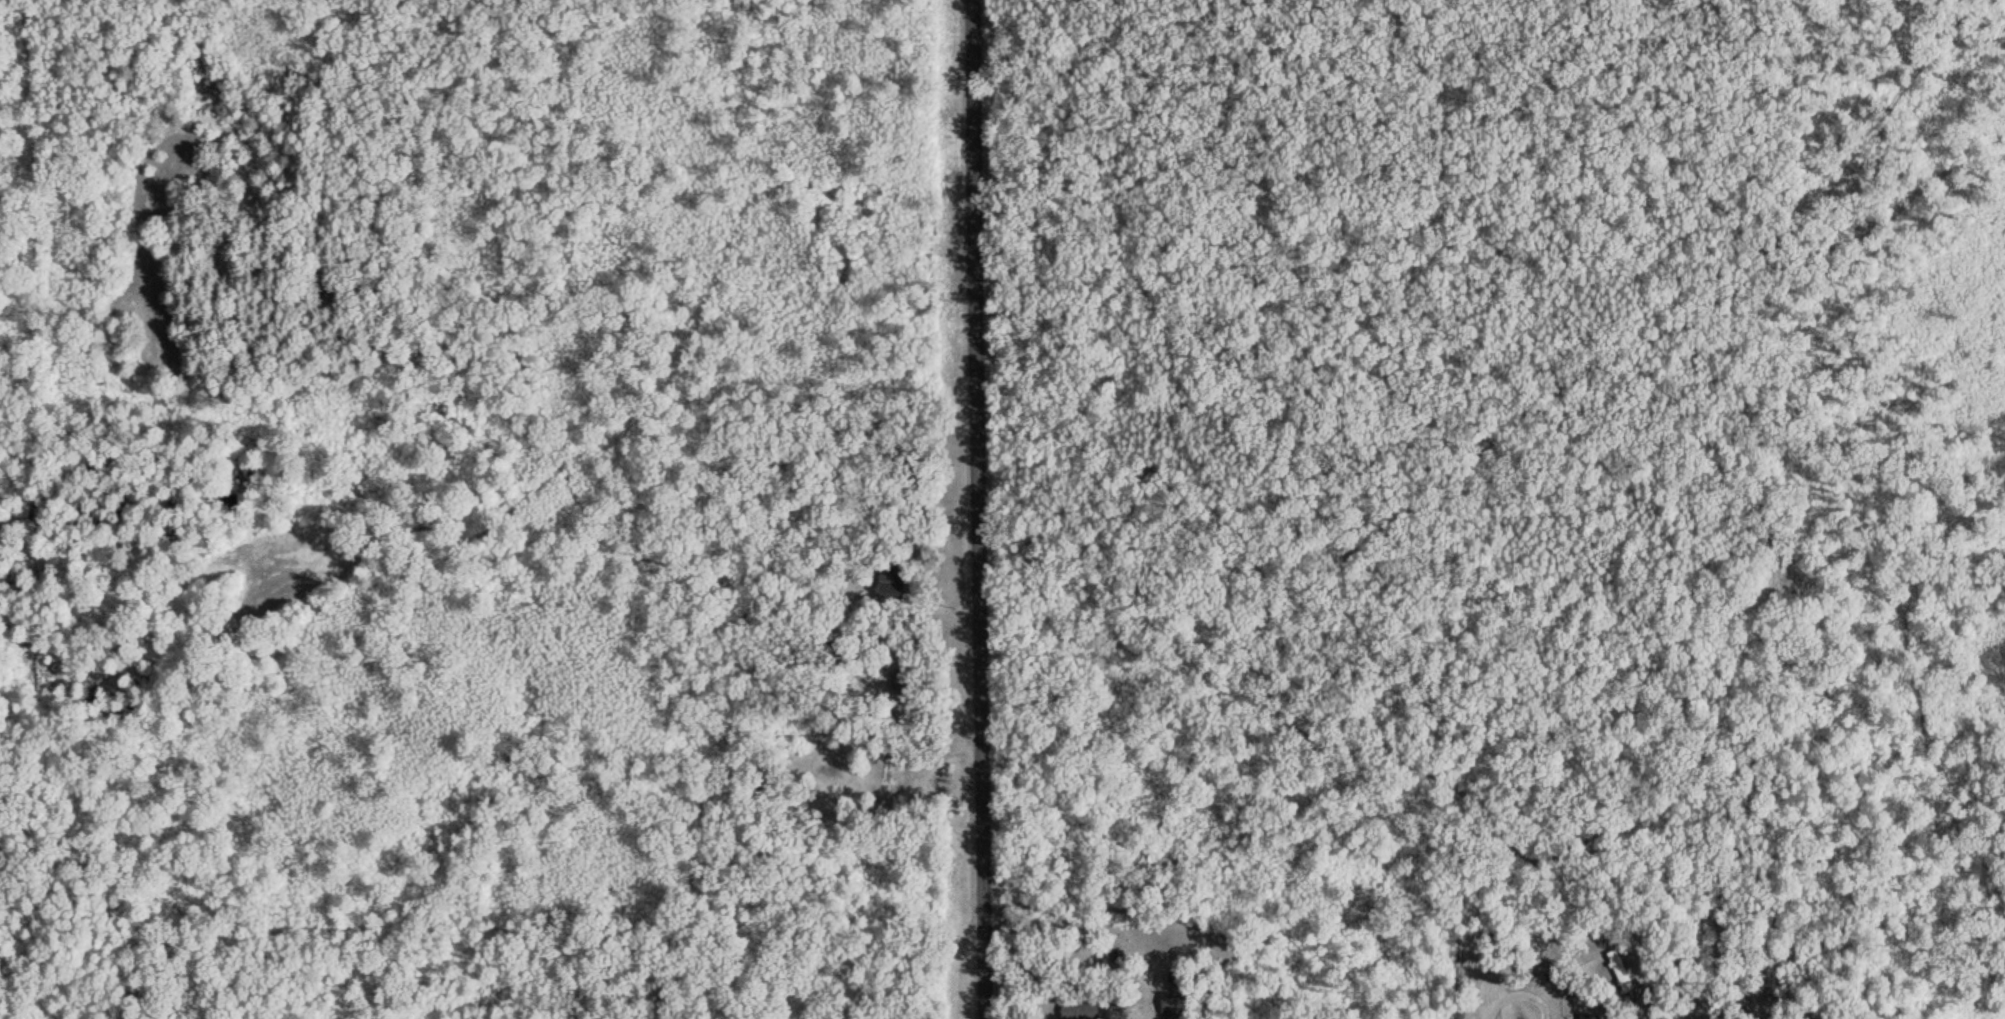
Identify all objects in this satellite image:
road: (970, 199)
road: (1439, 488)
road: (977, 708)
building: (896, 774)
road: (1691, 945)
building: (1176, 1005)
building: (1082, 1008)
building: (1587, 1016)

